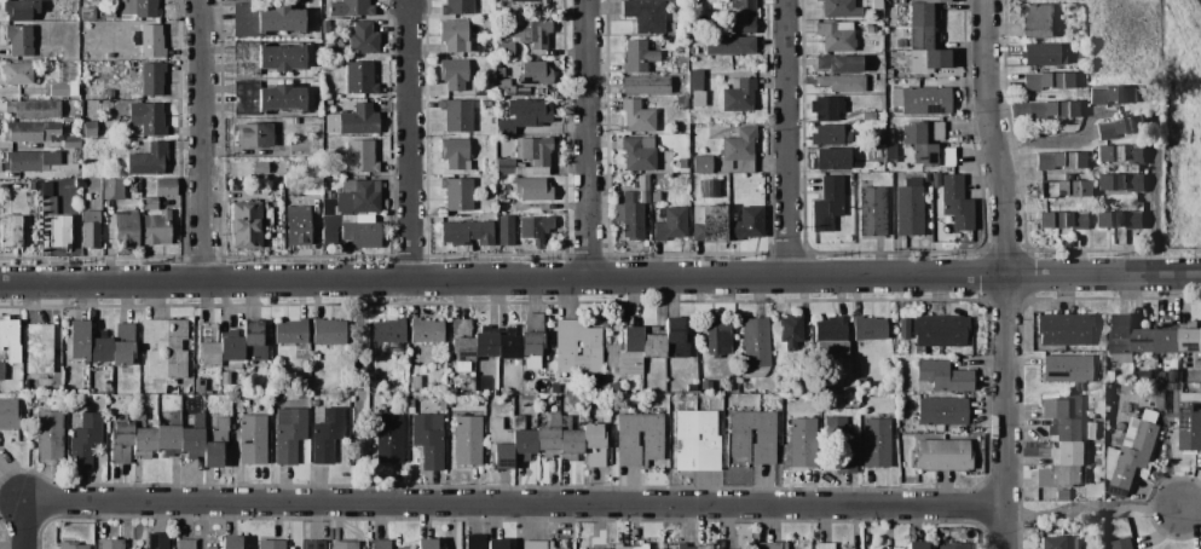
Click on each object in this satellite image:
building: (520, 1)
building: (896, 1)
building: (928, 1)
building: (876, 5)
building: (138, 7)
building: (456, 7)
building: (351, 8)
building: (839, 8)
building: (19, 10)
building: (87, 13)
building: (108, 13)
building: (922, 15)
building: (646, 16)
building: (873, 17)
building: (740, 18)
building: (265, 21)
building: (1035, 21)
building: (487, 24)
building: (324, 27)
building: (870, 29)
building: (530, 33)
building: (454, 36)
building: (836, 36)
building: (920, 37)
building: (363, 39)
building: (19, 40)
building: (149, 41)
building: (900, 44)
building: (728, 46)
building: (503, 48)
building: (692, 50)
building: (865, 52)
building: (1041, 54)
building: (82, 56)
building: (97, 56)
building: (109, 57)
building: (637, 57)
building: (265, 58)
building: (929, 62)
building: (839, 64)
building: (500, 73)
crop: (1132, 73)
building: (17, 74)
building: (452, 74)
building: (533, 74)
building: (151, 79)
building: (359, 79)
building: (1047, 81)
building: (841, 83)
building: (645, 86)
building: (695, 88)
building: (509, 89)
building: (59, 91)
building: (109, 94)
building: (738, 96)
building: (1113, 96)
building: (265, 99)
building: (922, 100)
building: (485, 105)
building: (825, 108)
building: (33, 109)
building: (1044, 110)
building: (457, 116)
building: (524, 116)
building: (636, 116)
building: (867, 116)
building: (146, 119)
building: (358, 120)
building: (1121, 127)
building: (88, 129)
building: (311, 129)
building: (30, 132)
building: (920, 132)
building: (693, 134)
building: (253, 135)
building: (828, 135)
road: (210, 140)
road: (593, 140)
road: (785, 140)
building: (70, 143)
building: (132, 144)
road: (409, 144)
building: (738, 151)
building: (879, 151)
building: (455, 154)
building: (639, 154)
building: (890, 154)
building: (1121, 154)
building: (931, 156)
building: (359, 157)
building: (527, 158)
building: (148, 160)
building: (830, 160)
building: (34, 161)
building: (1059, 161)
building: (681, 164)
building: (700, 164)
building: (926, 178)
building: (1124, 184)
building: (57, 185)
building: (134, 186)
building: (33, 187)
building: (164, 187)
building: (45, 189)
building: (1062, 189)
building: (112, 190)
building: (532, 190)
building: (709, 190)
building: (456, 193)
building: (654, 197)
building: (353, 200)
building: (955, 203)
building: (47, 204)
building: (148, 204)
building: (826, 206)
building: (908, 208)
building: (634, 210)
building: (871, 212)
road: (1154, 216)
building: (1061, 220)
building: (1119, 220)
building: (670, 224)
building: (708, 224)
building: (746, 224)
building: (298, 225)
building: (246, 226)
building: (156, 229)
building: (90, 230)
building: (125, 230)
building: (533, 230)
building: (10, 231)
building: (504, 231)
building: (59, 233)
building: (350, 233)
building: (467, 233)
road: (1005, 273)
road: (600, 281)
building: (901, 328)
building: (868, 329)
building: (940, 330)
building: (1064, 330)
building: (388, 331)
building: (425, 331)
building: (790, 331)
building: (290, 333)
building: (327, 333)
building: (717, 336)
building: (831, 336)
building: (1144, 337)
building: (1190, 337)
building: (1168, 339)
building: (10, 340)
building: (1122, 340)
building: (79, 341)
building: (253, 341)
building: (532, 341)
building: (675, 342)
building: (652, 343)
building: (460, 345)
building: (485, 345)
building: (122, 346)
building: (207, 346)
building: (508, 347)
building: (755, 347)
building: (576, 348)
building: (163, 349)
building: (100, 351)
building: (230, 351)
building: (37, 353)
building: (624, 357)
building: (1066, 370)
building: (1, 371)
building: (1165, 375)
building: (942, 376)
building: (1111, 376)
building: (1176, 376)
building: (225, 378)
building: (860, 381)
building: (64, 382)
building: (415, 382)
building: (106, 385)
building: (198, 386)
building: (705, 386)
building: (1194, 386)
building: (526, 387)
building: (691, 388)
building: (400, 389)
building: (553, 389)
building: (410, 401)
building: (474, 401)
building: (313, 403)
building: (850, 404)
building: (1061, 408)
building: (942, 411)
building: (8, 415)
building: (1108, 418)
building: (1190, 422)
building: (1072, 430)
building: (169, 433)
building: (289, 433)
building: (192, 434)
building: (48, 435)
building: (325, 435)
building: (752, 437)
building: (548, 438)
building: (143, 439)
building: (388, 439)
building: (639, 439)
building: (83, 440)
building: (253, 440)
building: (428, 440)
building: (522, 440)
building: (568, 440)
building: (467, 441)
building: (697, 441)
building: (121, 443)
building: (215, 443)
building: (802, 443)
building: (876, 443)
building: (500, 444)
building: (594, 444)
building: (842, 444)
building: (1131, 451)
building: (1067, 453)
building: (942, 456)
building: (1099, 462)
building: (1061, 476)
building: (1064, 496)
road: (514, 507)
road: (1097, 510)
road: (1195, 514)
road: (22, 526)
building: (157, 541)
building: (474, 542)
building: (231, 543)
building: (1051, 543)
building: (109, 544)
building: (185, 544)
building: (270, 544)
building: (380, 544)
building: (426, 544)
building: (498, 544)
building: (1075, 544)
building: (1124, 544)
building: (71, 545)
building: (313, 545)
building: (345, 545)
building: (536, 545)
building: (774, 545)
building: (824, 545)
building: (917, 545)
building: (953, 547)
building: (210, 548)
building: (406, 548)

